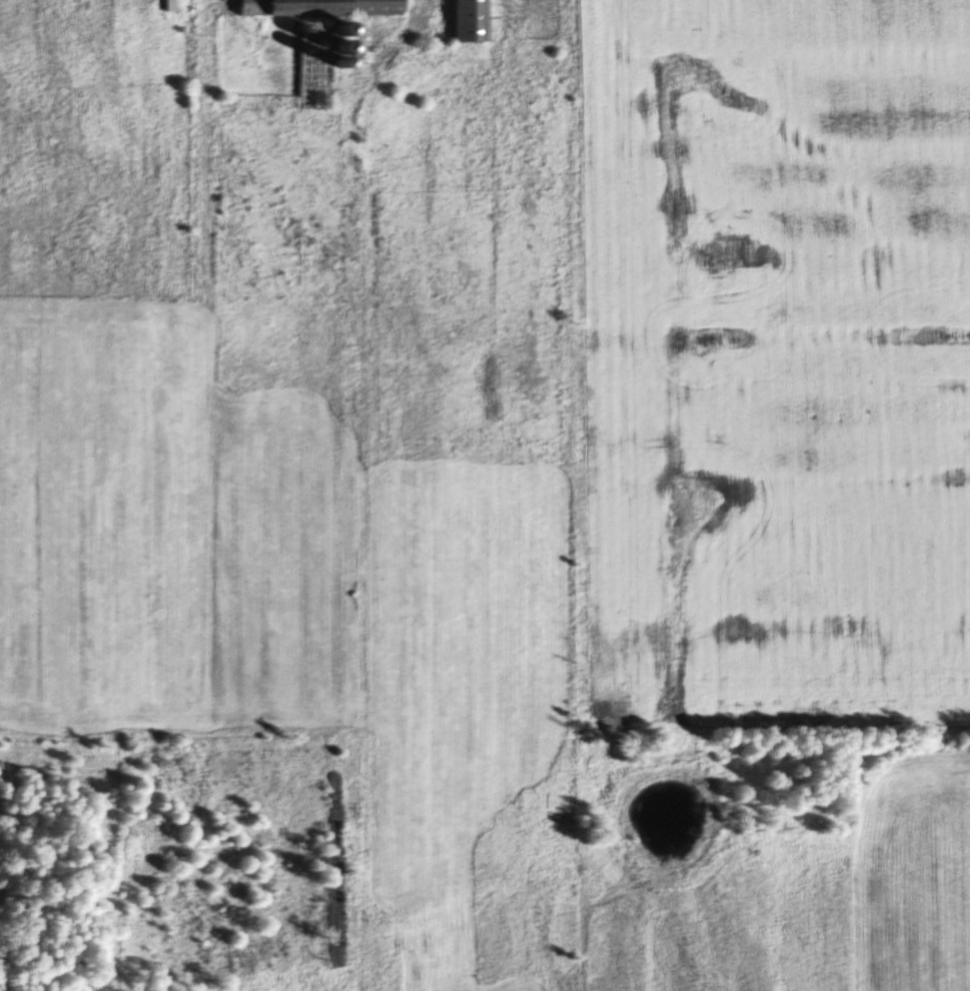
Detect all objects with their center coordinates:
building: (314, 6)
building: (465, 19)

